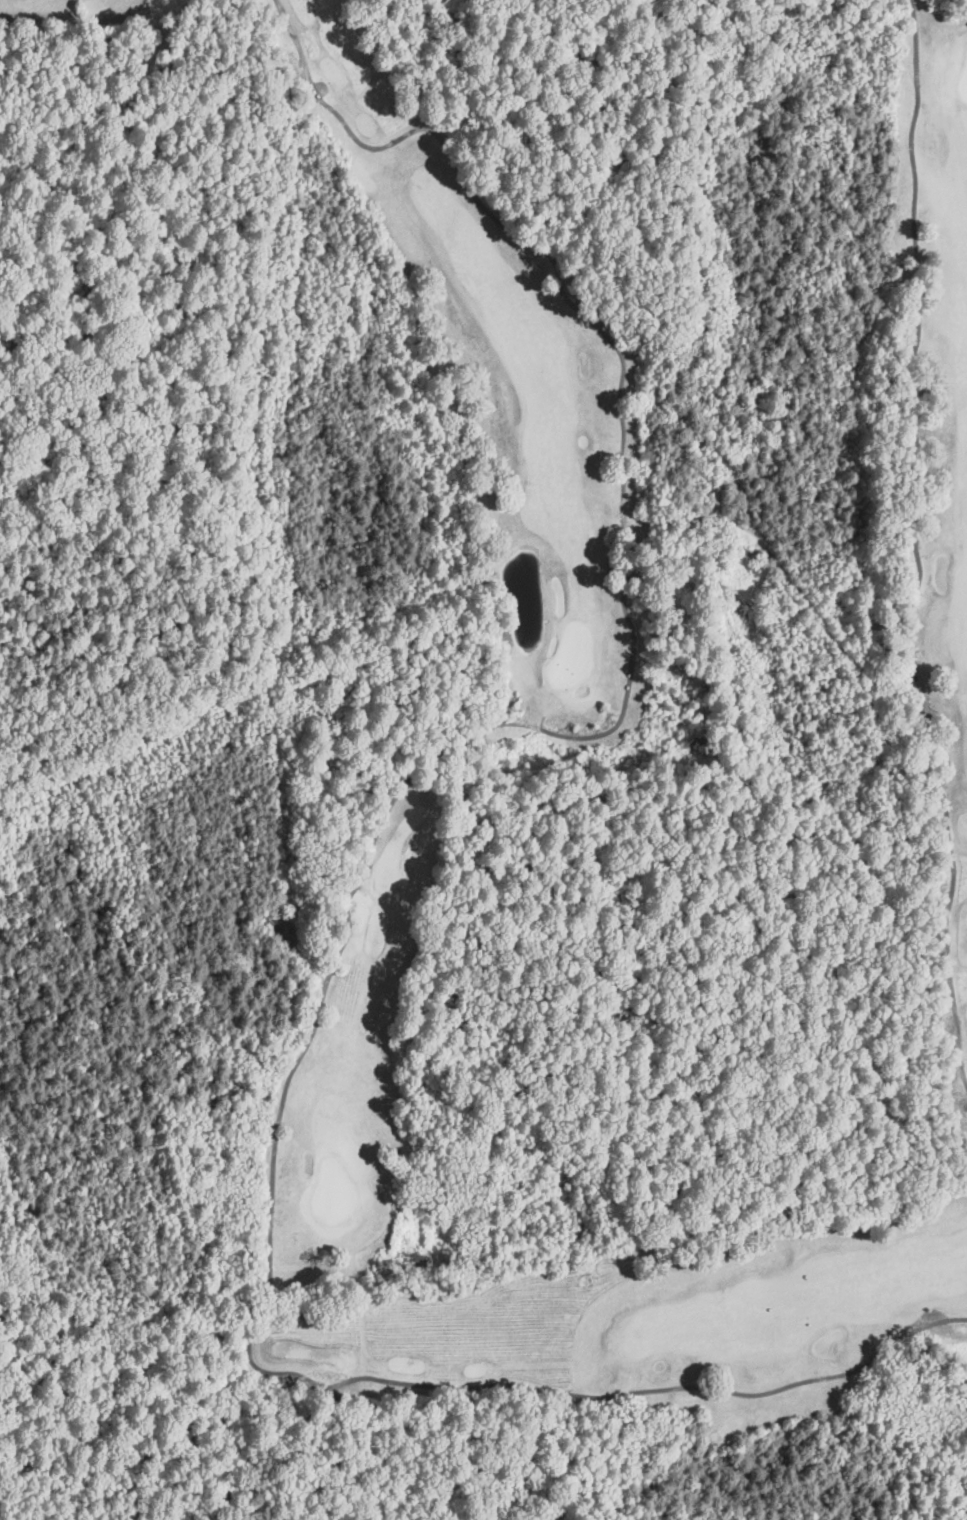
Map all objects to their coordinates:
park: (549, 714)

